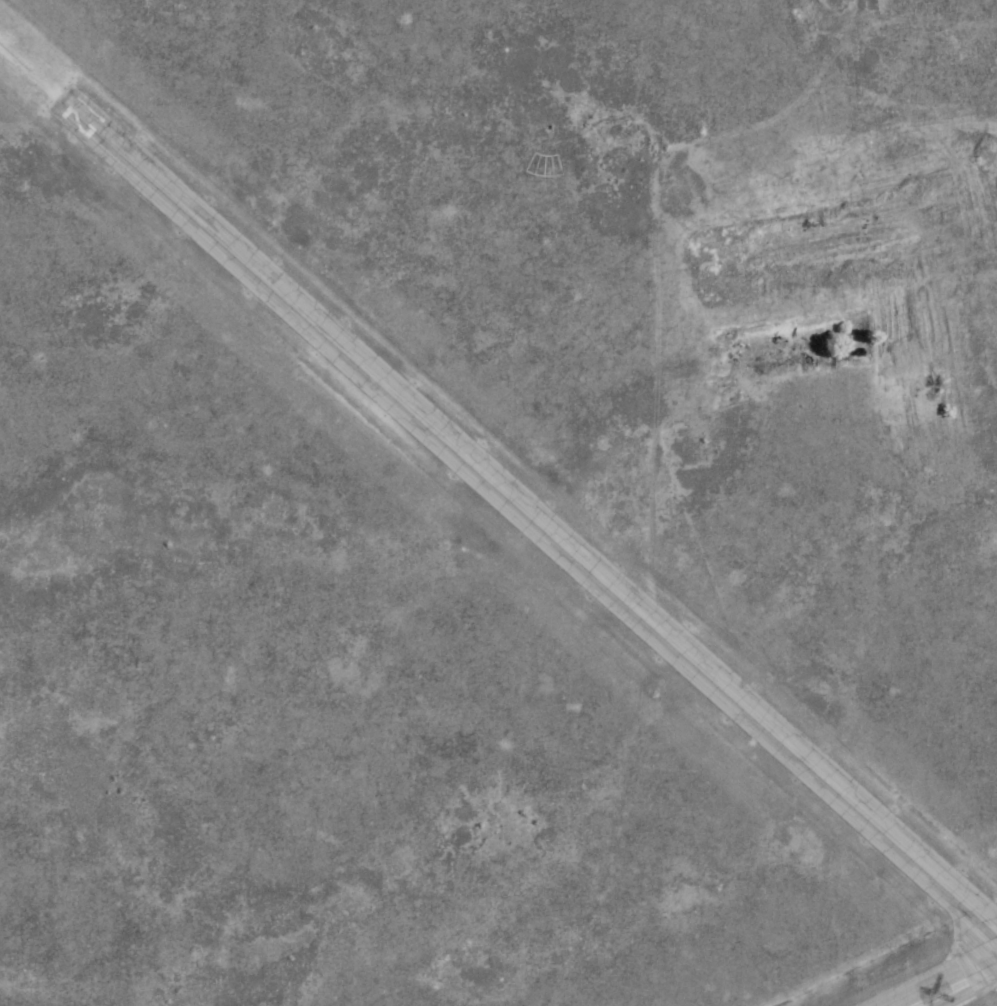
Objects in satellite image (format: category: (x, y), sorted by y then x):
airport runway: (529, 513)

